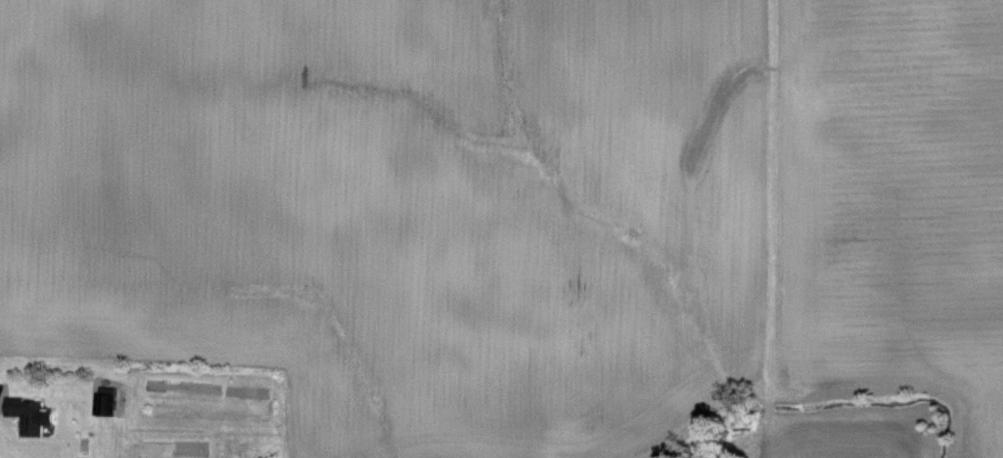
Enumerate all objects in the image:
building: (107, 401)
building: (30, 415)

